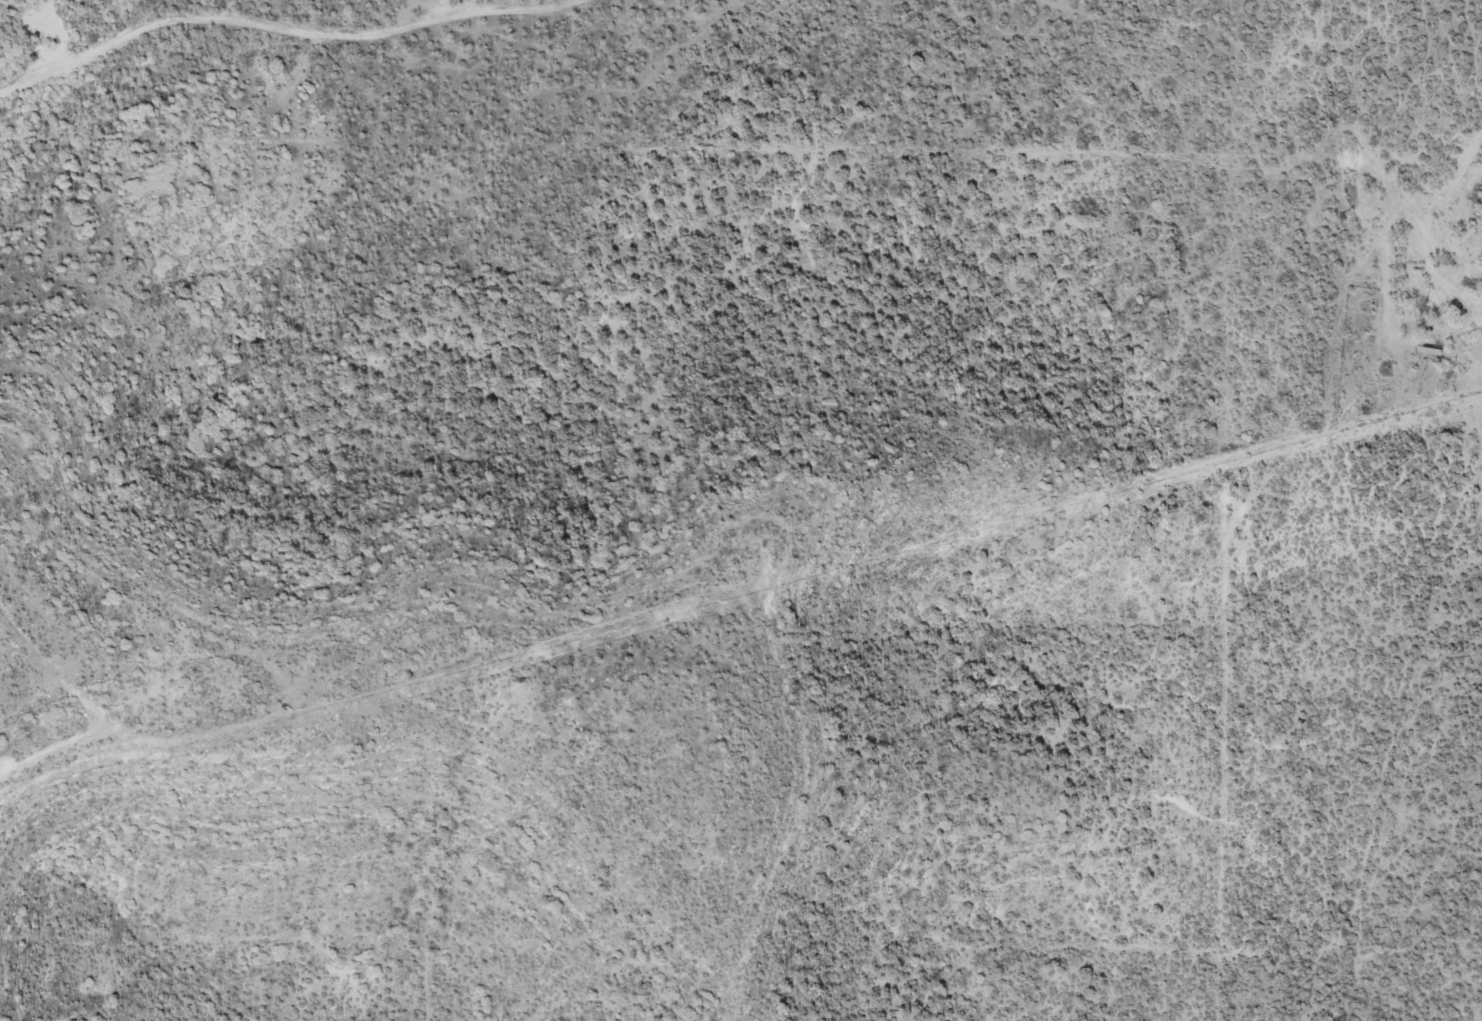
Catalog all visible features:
road: (1463, 261)

